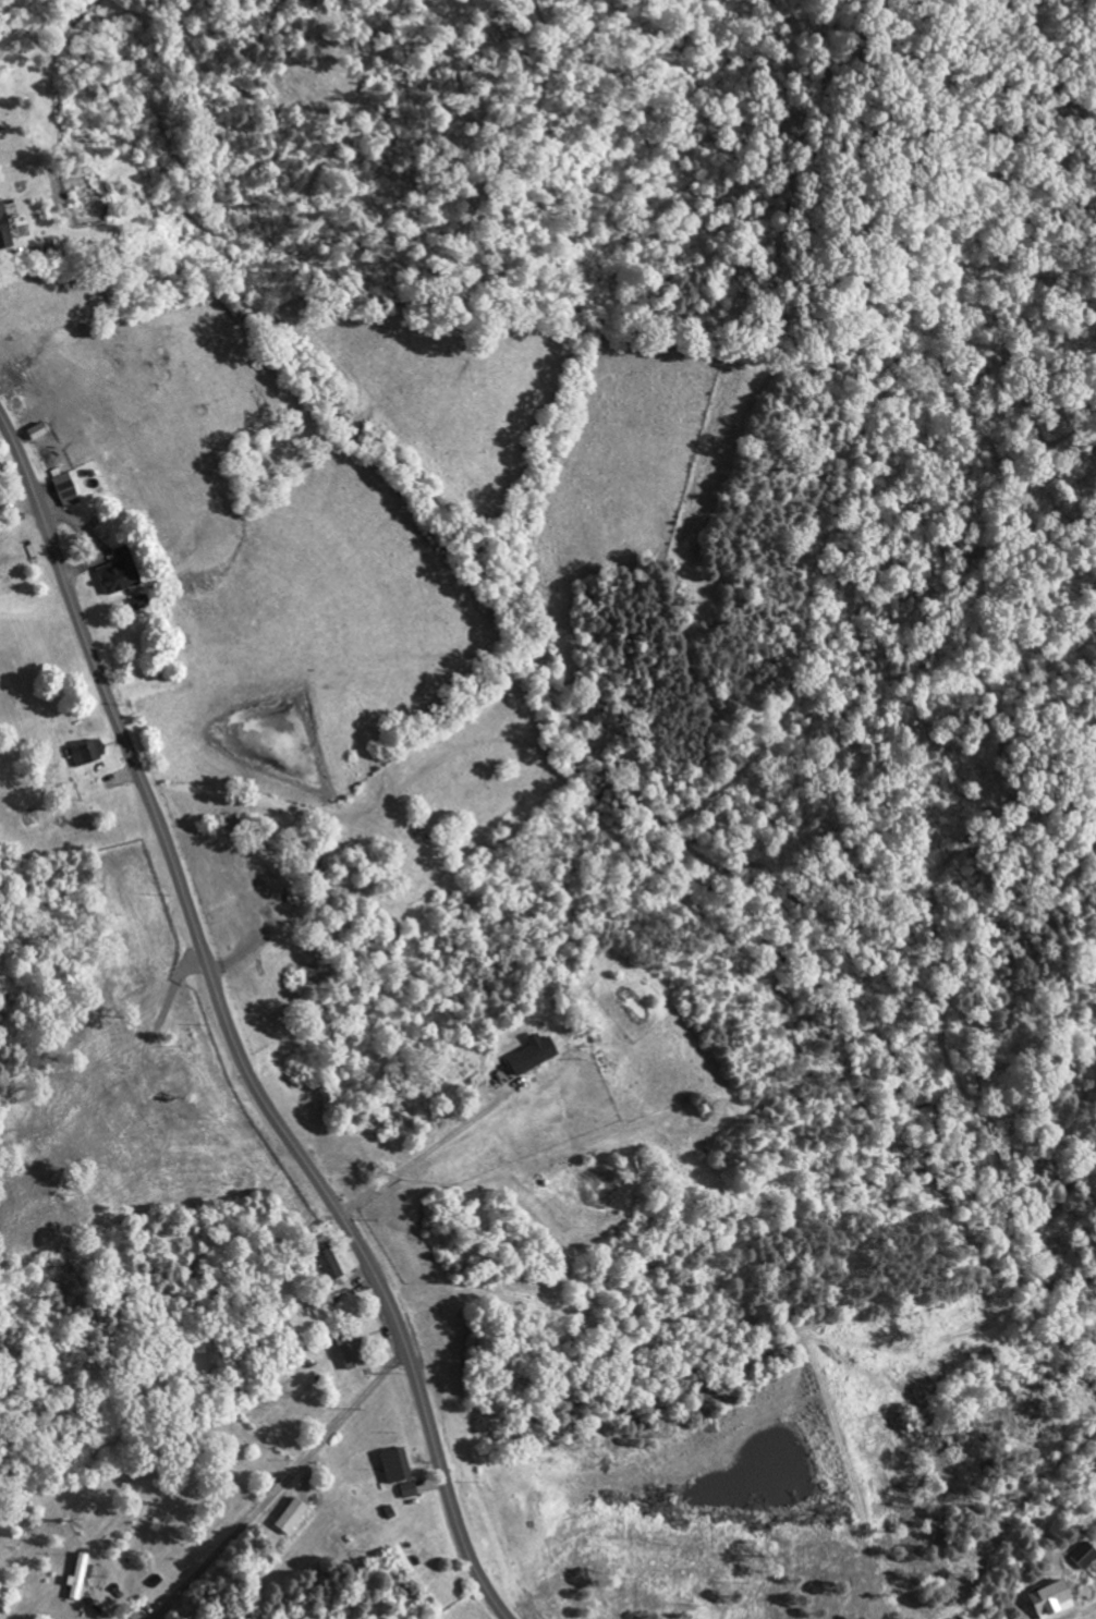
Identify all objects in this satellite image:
building: (42, 208)
building: (165, 553)
building: (13, 559)
road: (230, 1028)
building: (579, 1035)
road: (417, 1158)
building: (373, 1244)
building: (398, 1332)
building: (442, 1447)
building: (454, 1471)
road: (285, 1485)
building: (337, 1498)
building: (1087, 1584)

